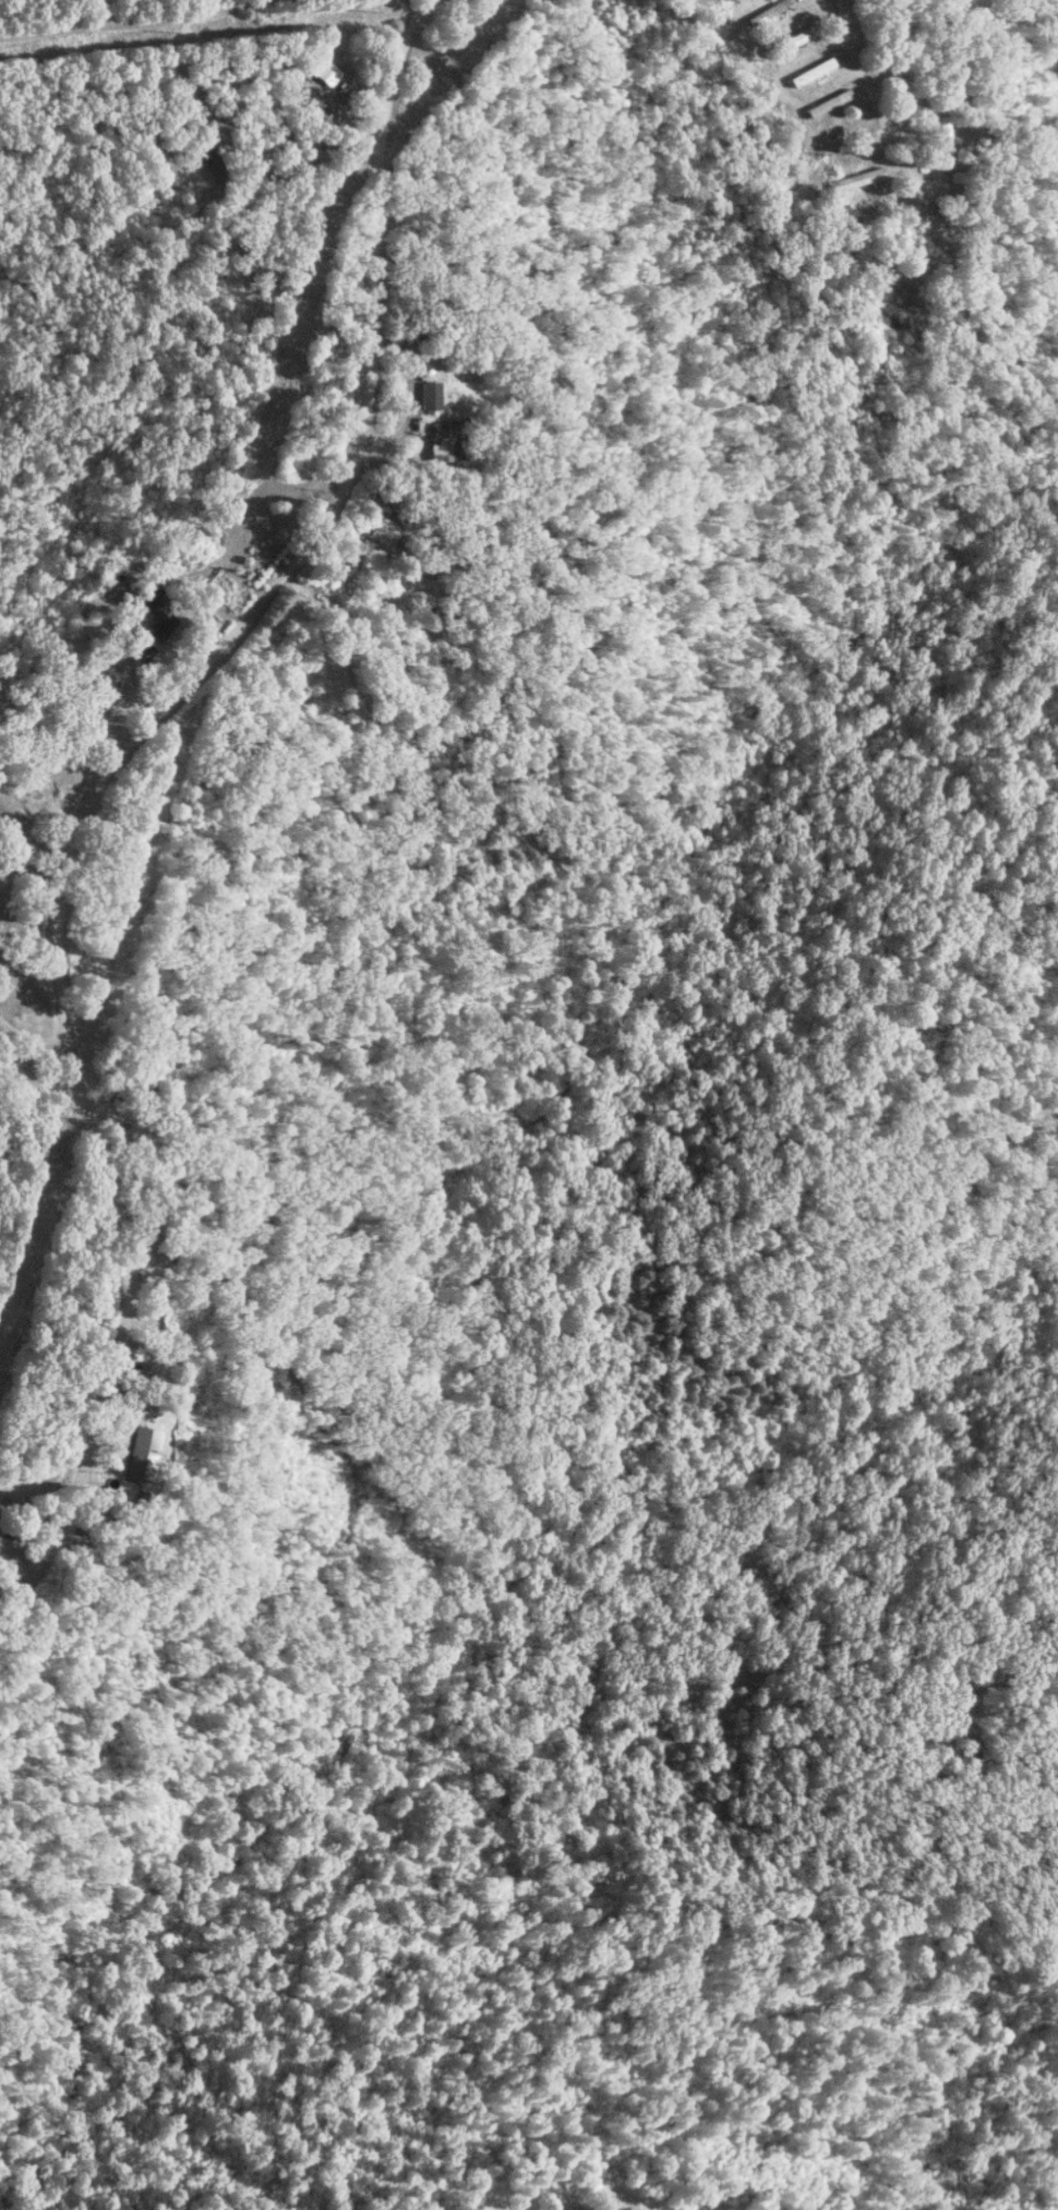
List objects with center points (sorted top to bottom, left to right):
building: (774, 11)
building: (791, 37)
road: (213, 45)
building: (330, 64)
building: (811, 71)
road: (874, 95)
building: (828, 104)
building: (325, 116)
building: (431, 394)
building: (442, 440)
building: (385, 530)
building: (155, 608)
road: (95, 780)
road: (32, 851)
road: (28, 1037)
building: (140, 1455)

